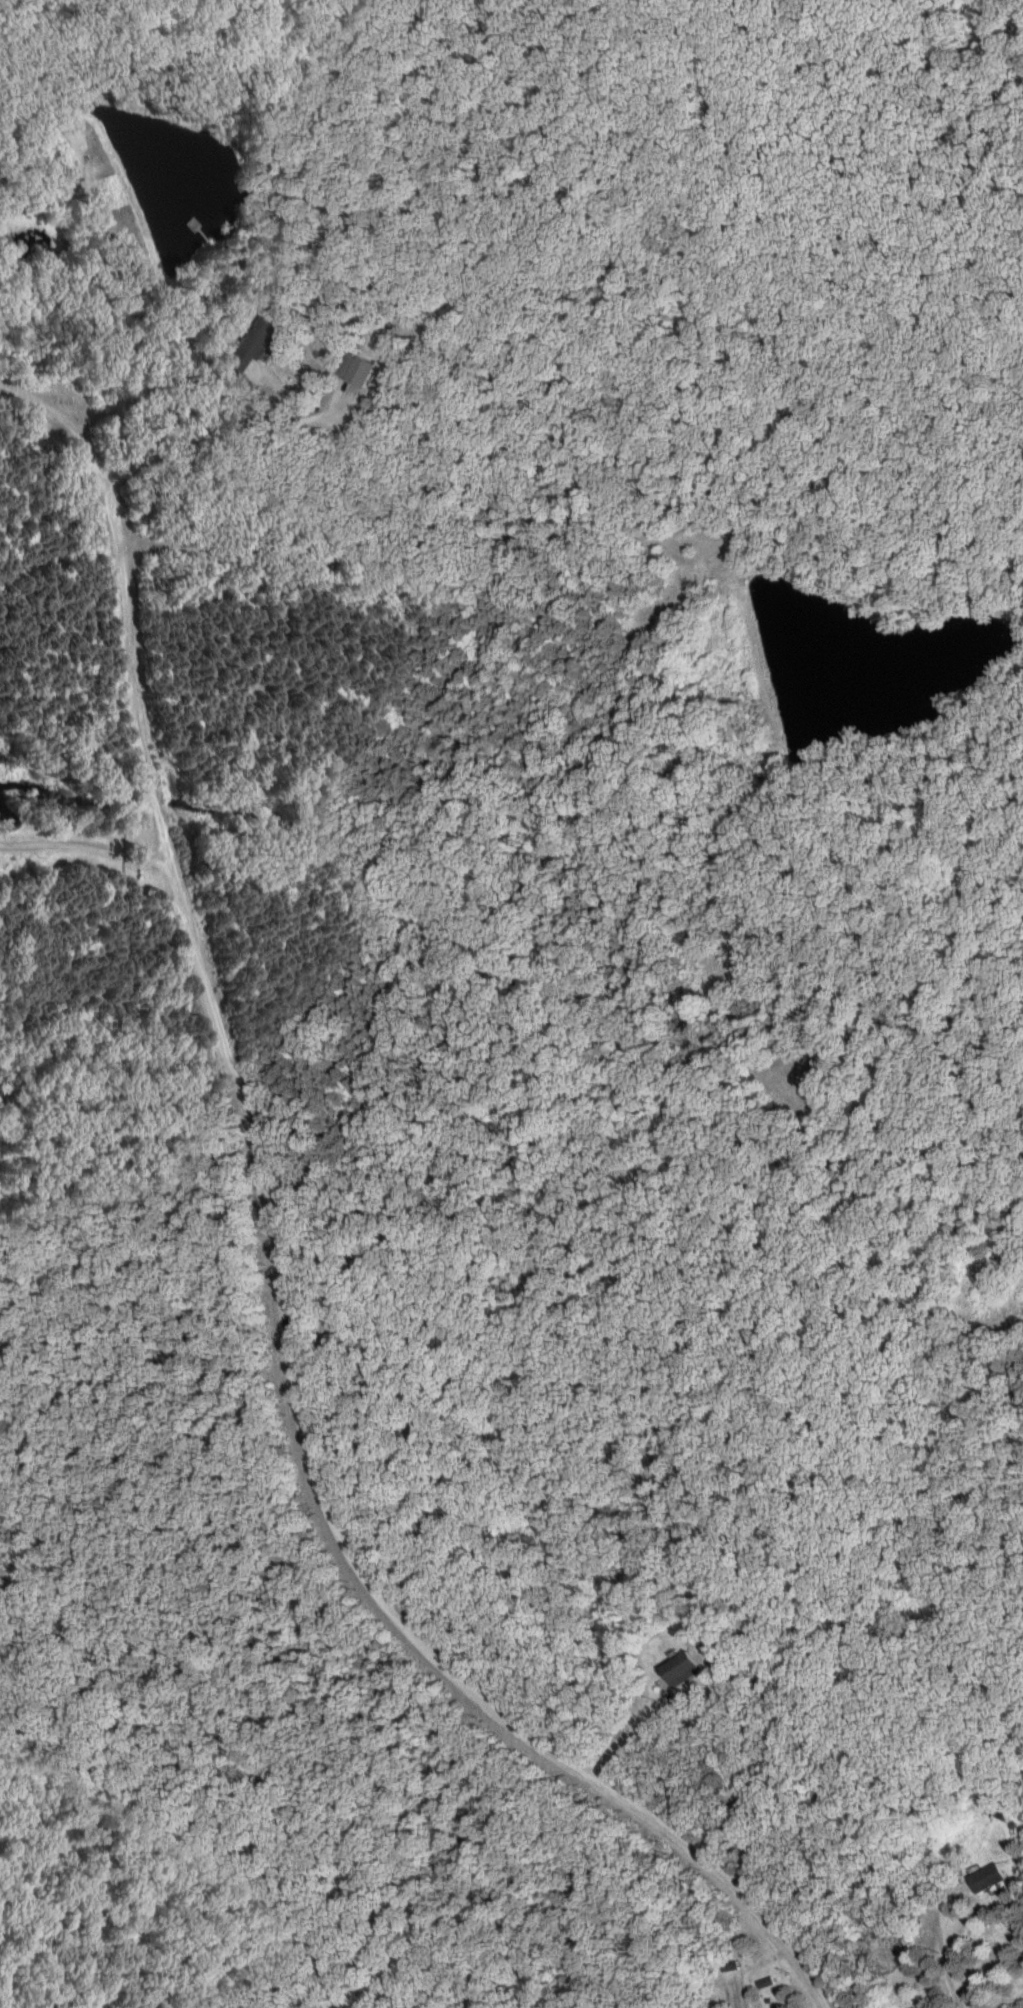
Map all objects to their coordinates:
building: (253, 346)
building: (355, 370)
road: (251, 430)
road: (275, 1272)
building: (680, 1670)
building: (986, 1879)

